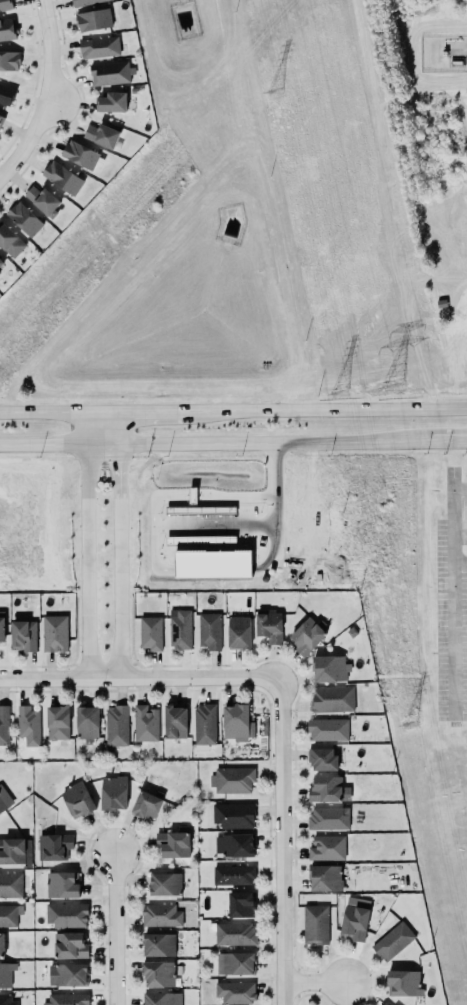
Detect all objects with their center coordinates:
building: (85, 2)
building: (5, 5)
building: (93, 20)
building: (6, 30)
road: (46, 46)
building: (97, 47)
building: (8, 60)
building: (107, 73)
power tower: (276, 87)
building: (5, 95)
building: (111, 103)
building: (1, 119)
building: (100, 135)
road: (27, 137)
building: (78, 152)
building: (60, 178)
building: (42, 201)
building: (24, 219)
building: (9, 237)
building: (1, 264)
power tower: (390, 390)
power tower: (336, 392)
road: (329, 408)
road: (155, 412)
road: (59, 413)
road: (118, 428)
road: (87, 429)
road: (447, 440)
road: (272, 443)
road: (102, 444)
road: (43, 445)
road: (243, 496)
road: (262, 523)
road: (452, 525)
road: (459, 525)
road: (120, 562)
road: (87, 563)
building: (213, 565)
parking lot: (451, 600)
building: (268, 624)
building: (178, 628)
building: (208, 630)
building: (237, 630)
building: (0, 631)
building: (150, 632)
building: (19, 634)
building: (54, 634)
building: (306, 636)
road: (453, 646)
building: (328, 667)
road: (140, 680)
building: (331, 698)
building: (56, 721)
building: (235, 721)
building: (174, 722)
building: (86, 723)
building: (27, 724)
building: (145, 724)
building: (3, 725)
power tower: (409, 725)
building: (115, 727)
building: (327, 730)
building: (321, 757)
building: (232, 779)
building: (327, 788)
building: (113, 792)
building: (3, 801)
building: (77, 801)
building: (145, 806)
building: (233, 816)
building: (327, 817)
road: (283, 842)
building: (173, 844)
building: (233, 844)
building: (53, 845)
building: (326, 847)
building: (15, 852)
building: (232, 874)
building: (324, 876)
building: (164, 883)
building: (7, 885)
building: (61, 885)
building: (240, 903)
building: (65, 914)
building: (9, 916)
building: (160, 916)
building: (354, 918)
building: (315, 925)
road: (114, 927)
building: (233, 933)
building: (391, 940)
building: (157, 943)
building: (1, 946)
building: (69, 946)
building: (233, 962)
building: (6, 974)
building: (67, 975)
building: (158, 975)
building: (402, 981)
road: (315, 983)
building: (234, 992)
building: (66, 999)
building: (158, 999)
building: (6, 1000)
building: (384, 1004)

